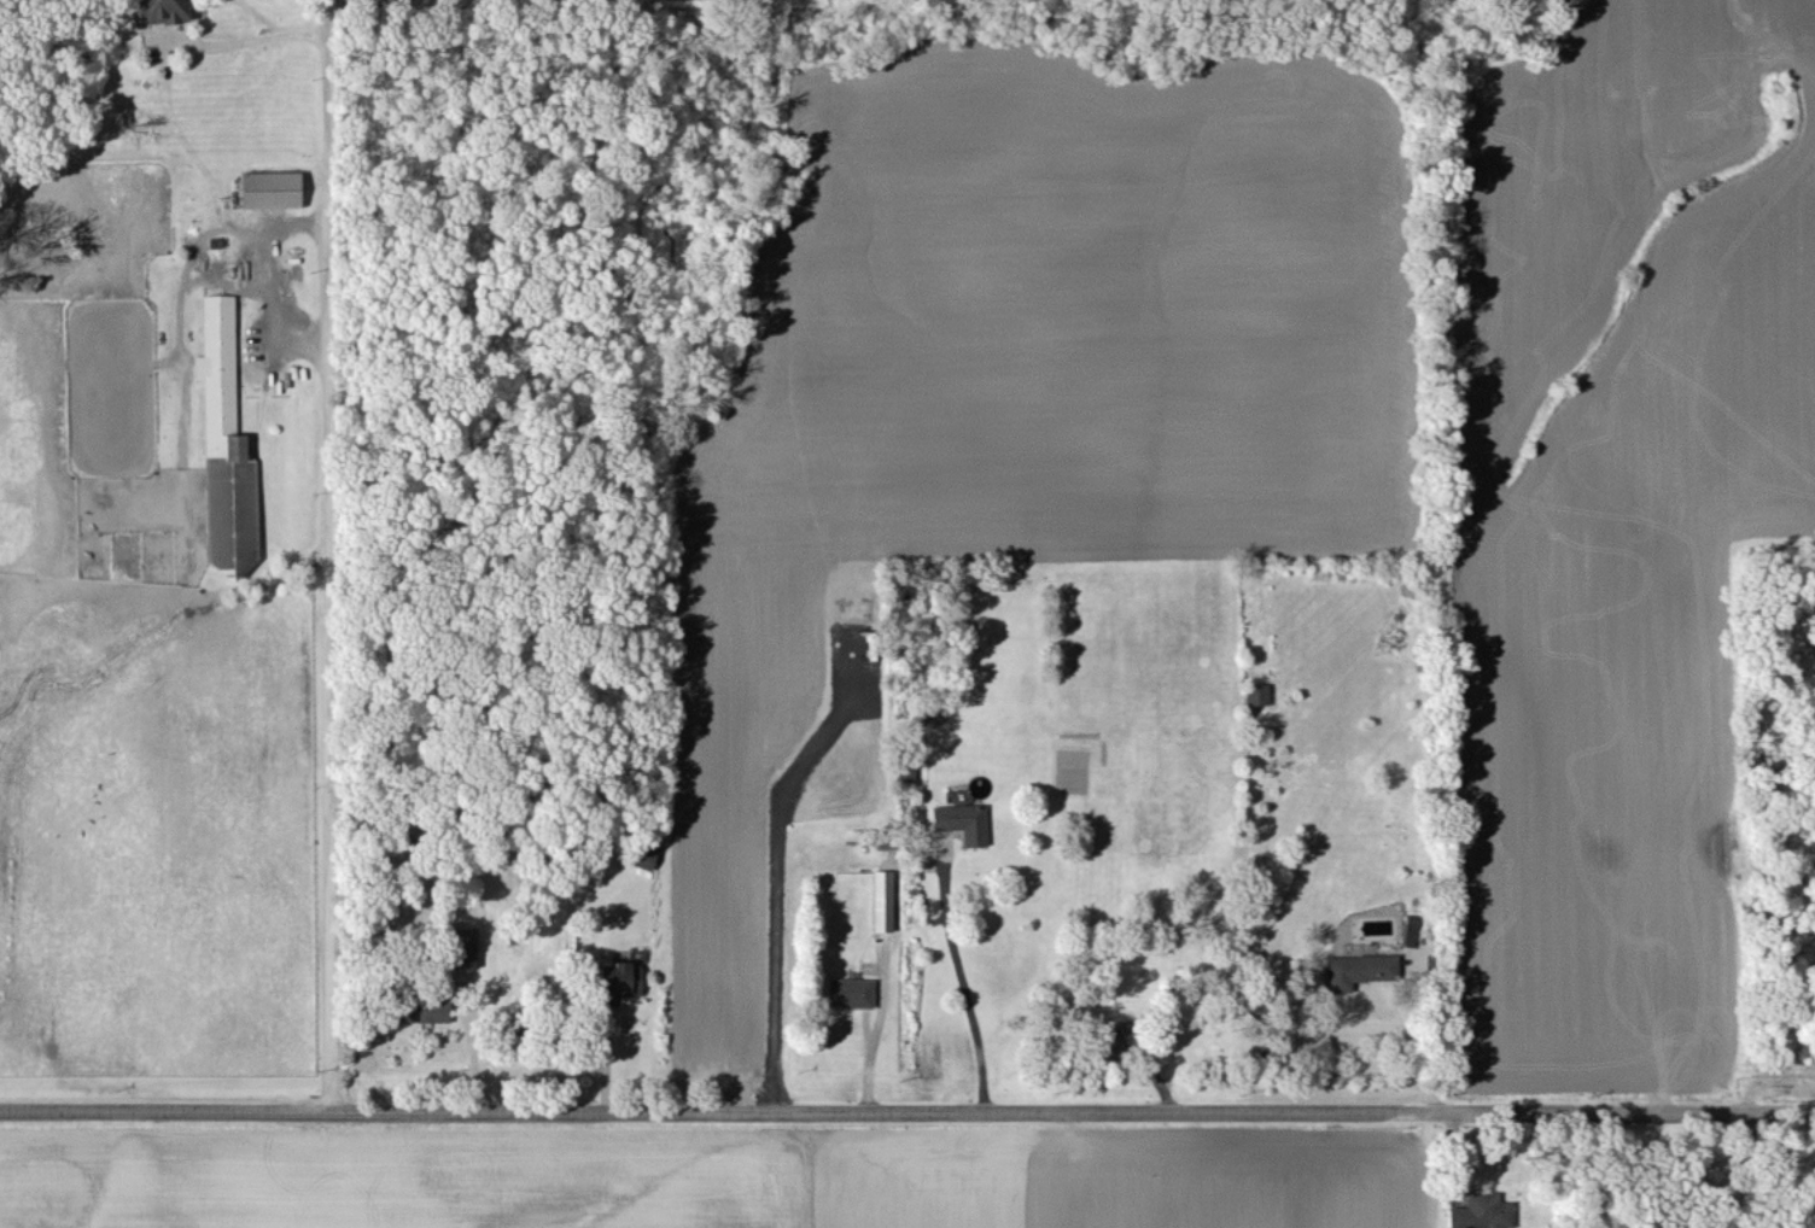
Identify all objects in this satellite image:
building: (161, 10)
road: (249, 41)
building: (270, 188)
building: (224, 448)
road: (329, 554)
building: (1256, 694)
building: (962, 821)
building: (644, 854)
building: (881, 900)
building: (462, 947)
building: (1358, 969)
road: (959, 977)
building: (618, 981)
building: (850, 992)
building: (422, 1008)
road: (1424, 1034)
building: (1116, 1039)
road: (906, 1109)

